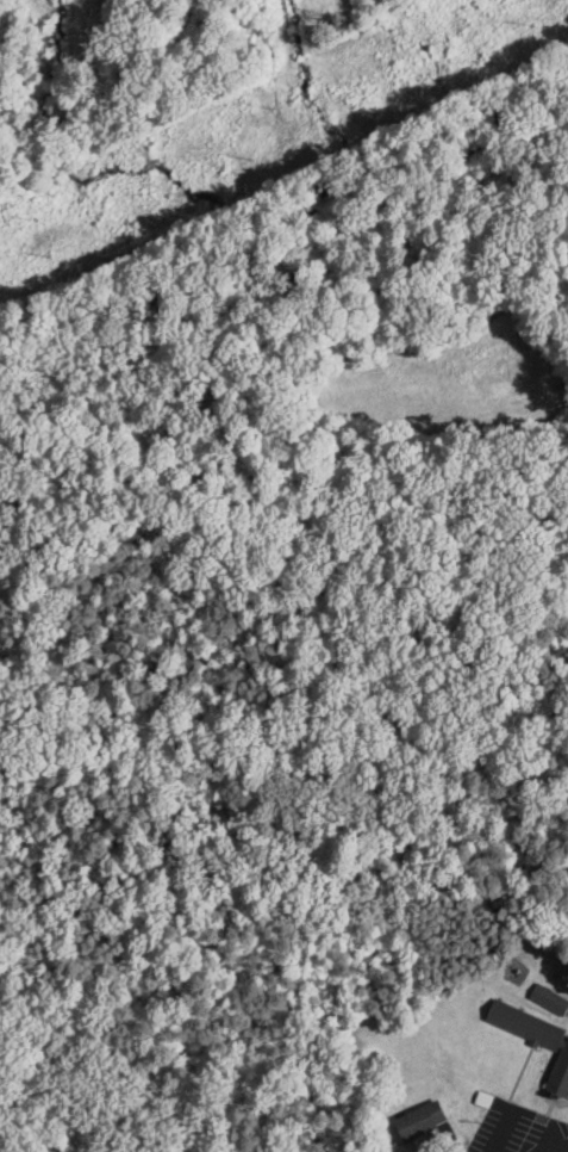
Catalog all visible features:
road: (399, 12)
building: (550, 998)
building: (542, 1005)
building: (551, 1049)
building: (412, 1126)

